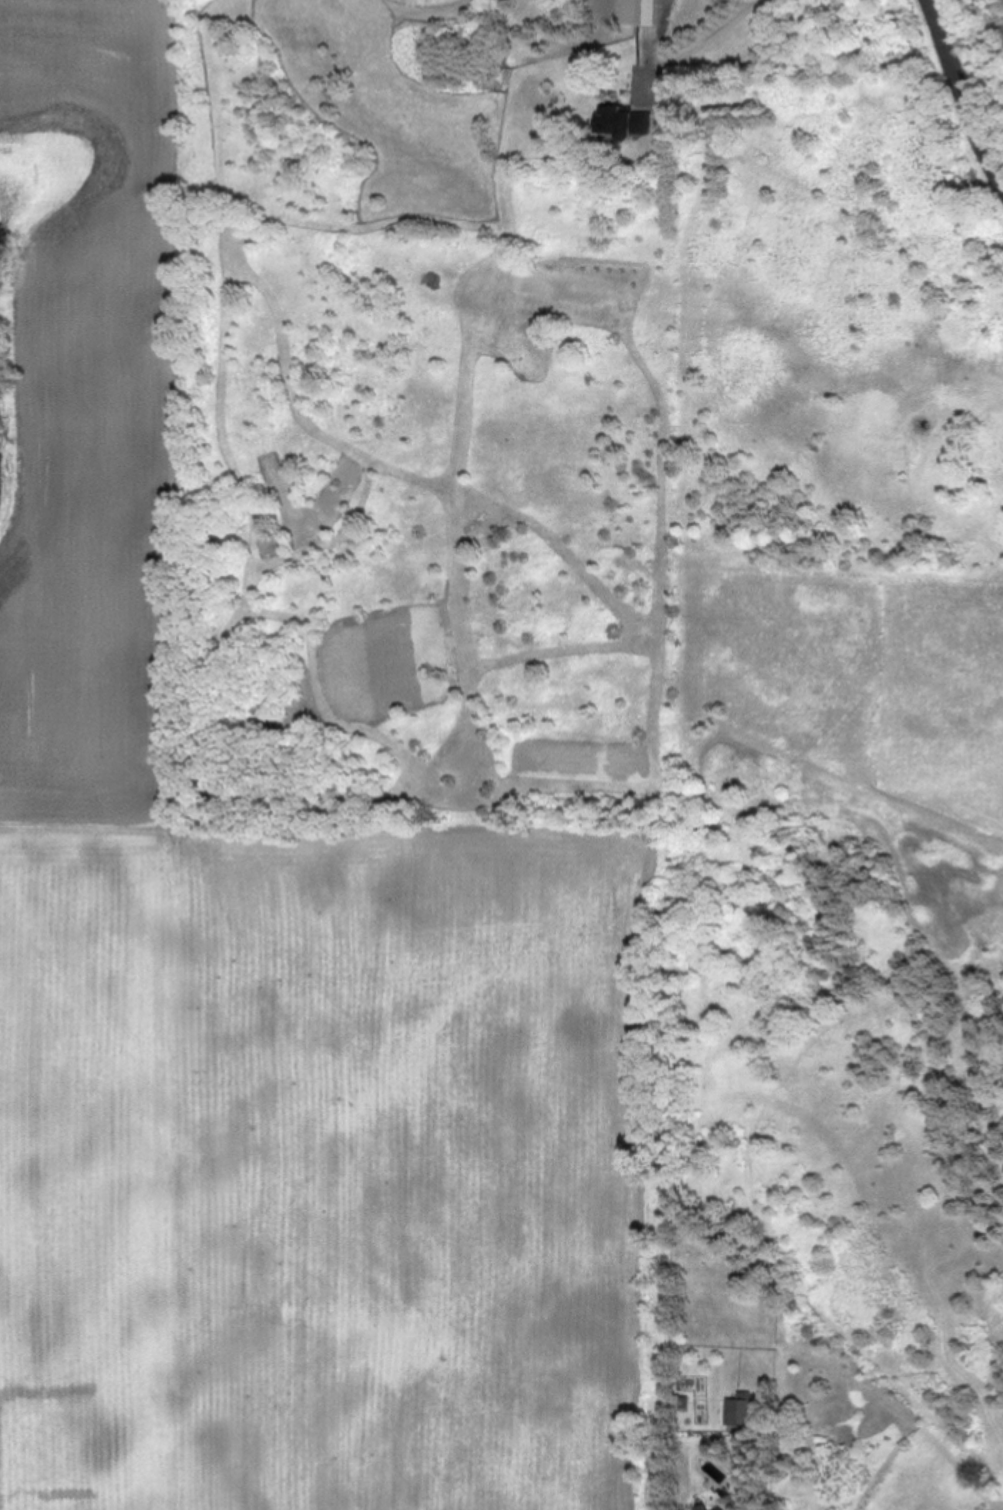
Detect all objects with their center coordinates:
building: (646, 12)
road: (711, 33)
road: (959, 93)
building: (622, 121)
park: (675, 807)
building: (738, 1410)
building: (701, 1507)

